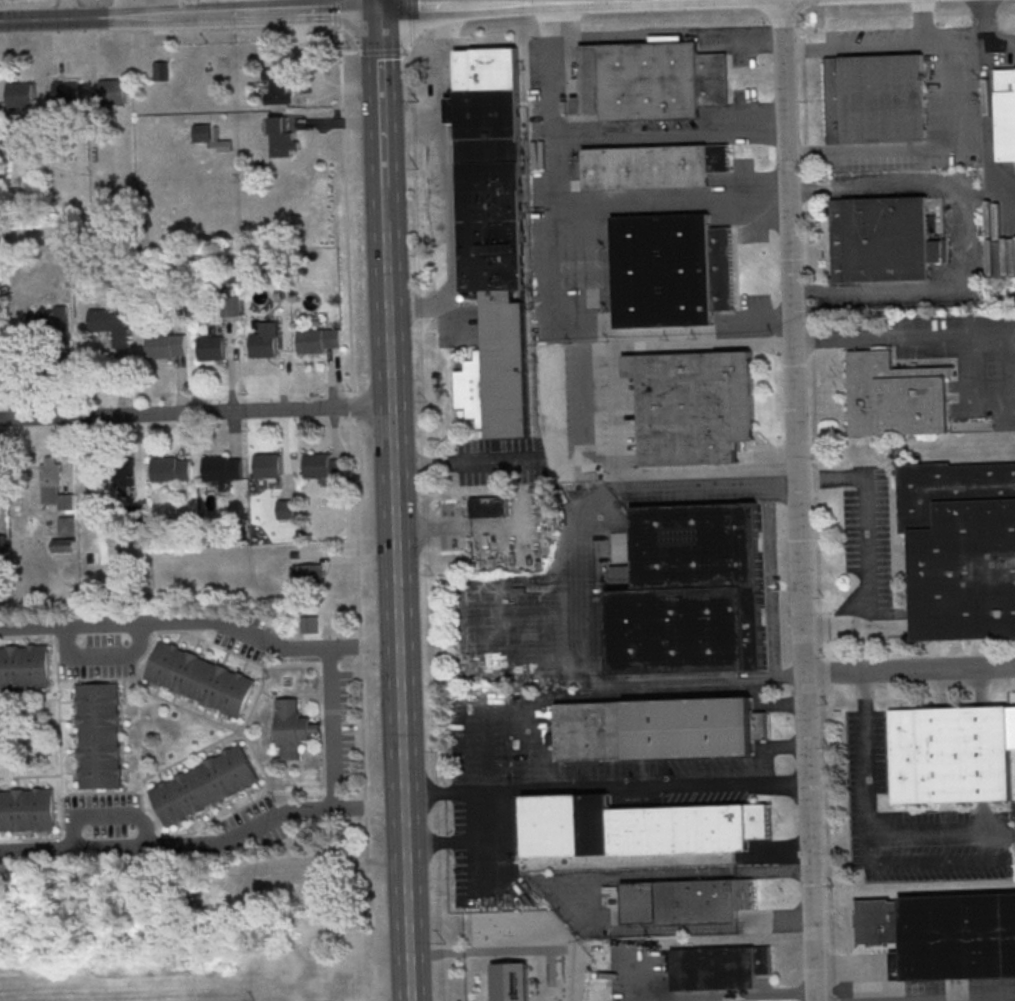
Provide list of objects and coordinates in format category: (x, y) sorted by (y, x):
road: (615, 1)
road: (639, 1)
road: (375, 4)
road: (171, 8)
traffic signals: (376, 9)
road: (70, 10)
road: (308, 12)
road: (339, 14)
road: (409, 15)
road: (921, 23)
road: (670, 38)
road: (899, 46)
road: (447, 66)
building: (649, 80)
building: (278, 89)
building: (112, 94)
building: (20, 97)
road: (379, 97)
building: (874, 98)
building: (66, 99)
building: (1005, 112)
road: (673, 131)
building: (189, 133)
building: (283, 136)
building: (8, 137)
road: (923, 151)
building: (652, 166)
road: (676, 202)
road: (382, 205)
road: (443, 215)
building: (493, 232)
road: (965, 237)
building: (881, 239)
building: (670, 269)
road: (565, 281)
building: (49, 321)
building: (112, 324)
road: (940, 336)
building: (318, 339)
building: (265, 340)
building: (166, 344)
building: (212, 348)
building: (897, 395)
building: (693, 405)
road: (617, 411)
road: (194, 413)
road: (466, 461)
building: (317, 464)
building: (268, 469)
building: (222, 471)
building: (171, 472)
building: (128, 476)
road: (705, 485)
building: (54, 488)
road: (799, 500)
building: (489, 506)
building: (286, 509)
road: (361, 514)
road: (393, 515)
building: (67, 529)
road: (868, 542)
building: (960, 548)
building: (64, 549)
road: (592, 578)
building: (689, 592)
road: (201, 621)
building: (311, 624)
building: (24, 665)
road: (910, 672)
building: (200, 678)
road: (695, 683)
road: (776, 702)
road: (322, 727)
building: (659, 728)
building: (292, 729)
road: (330, 729)
road: (236, 730)
road: (138, 734)
building: (98, 735)
road: (59, 737)
road: (771, 748)
building: (950, 754)
road: (868, 761)
road: (603, 783)
building: (204, 784)
road: (476, 790)
building: (26, 809)
parking lot: (102, 812)
parking lot: (913, 823)
building: (636, 826)
road: (455, 840)
road: (204, 845)
road: (1006, 855)
building: (679, 903)
road: (406, 904)
building: (945, 940)
building: (719, 967)
road: (860, 967)
building: (511, 981)
parking lot: (955, 990)
road: (730, 996)
road: (972, 999)

